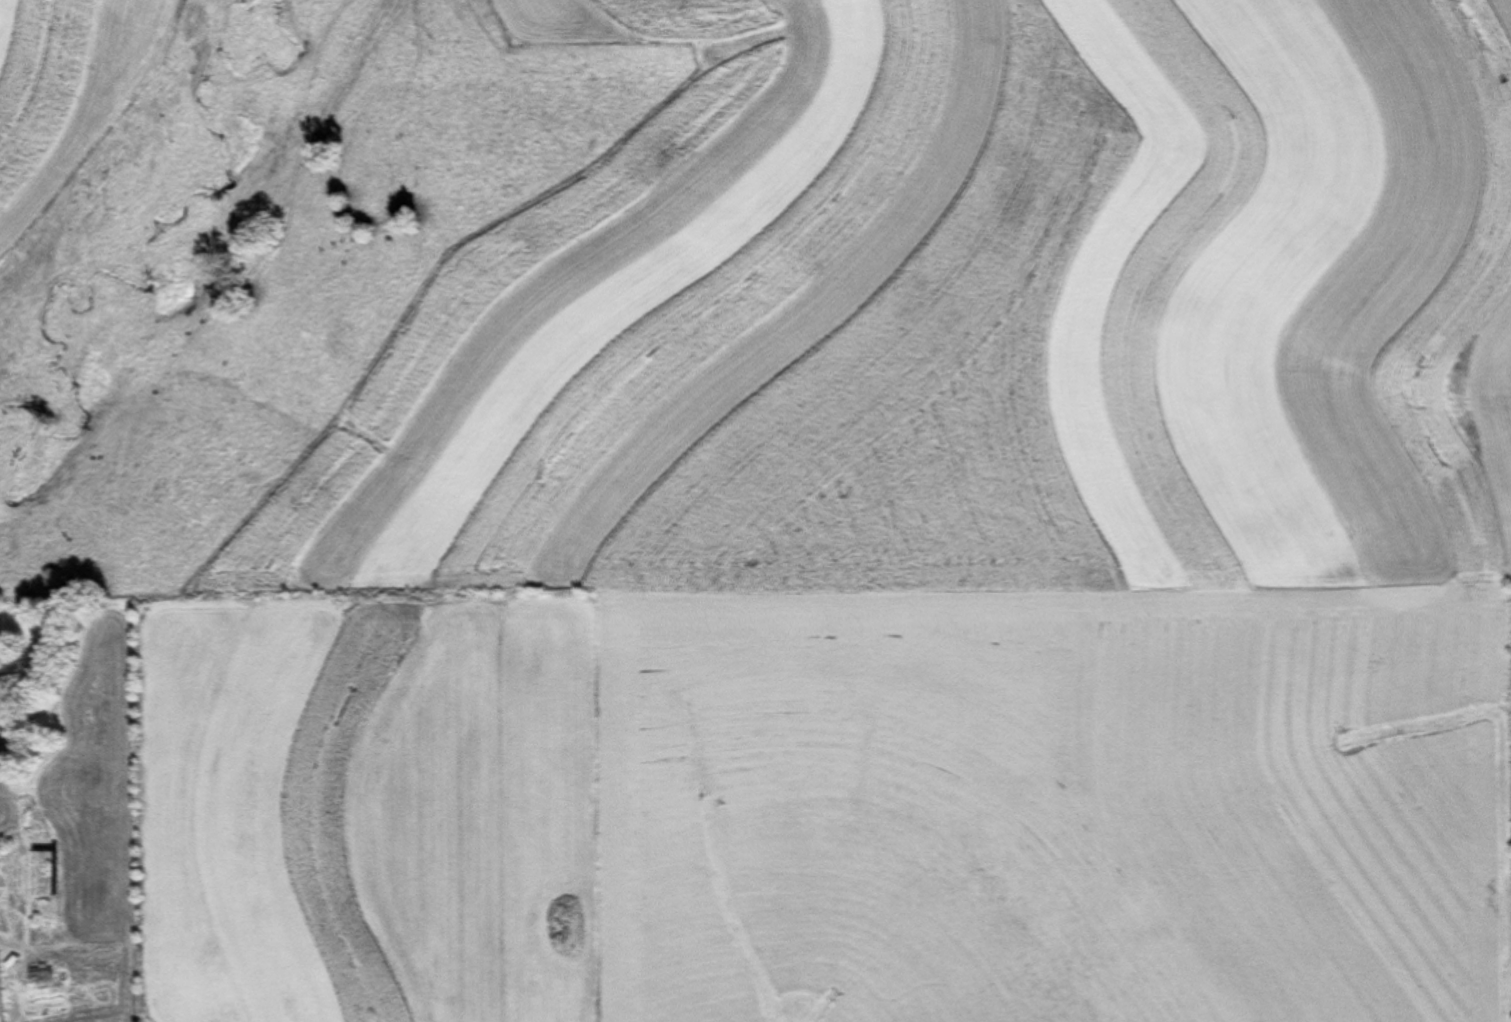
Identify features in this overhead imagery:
road: (6, 946)
building: (3, 995)

